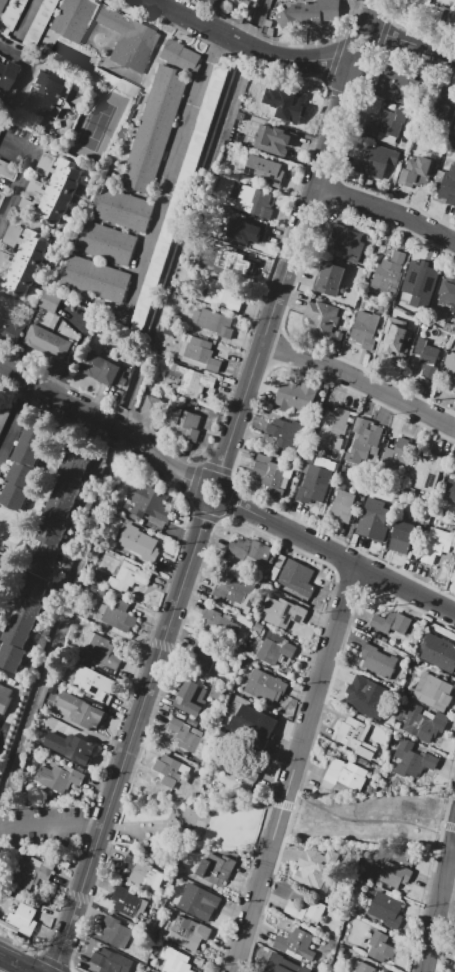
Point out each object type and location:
building: (240, 0)
building: (2, 4)
road: (164, 4)
road: (374, 6)
road: (4, 8)
building: (432, 9)
road: (53, 12)
road: (205, 13)
building: (307, 13)
road: (24, 15)
building: (10, 16)
building: (73, 18)
building: (453, 22)
building: (38, 23)
road: (105, 30)
road: (411, 31)
road: (382, 34)
building: (129, 39)
road: (281, 43)
road: (87, 44)
building: (181, 56)
road: (300, 61)
road: (334, 61)
building: (2, 63)
road: (28, 68)
road: (126, 72)
building: (7, 77)
building: (51, 83)
building: (114, 83)
building: (397, 85)
road: (145, 90)
building: (47, 95)
road: (341, 96)
building: (287, 102)
building: (444, 102)
building: (40, 106)
building: (388, 123)
park: (96, 124)
building: (454, 128)
building: (154, 130)
road: (343, 134)
building: (454, 137)
building: (275, 140)
road: (1, 145)
building: (376, 161)
building: (45, 163)
building: (7, 170)
road: (170, 170)
building: (264, 170)
building: (416, 170)
road: (21, 177)
building: (448, 186)
building: (34, 187)
road: (7, 191)
building: (58, 192)
road: (336, 193)
building: (0, 194)
road: (144, 195)
building: (1, 197)
building: (178, 199)
building: (256, 200)
building: (25, 205)
building: (124, 209)
road: (384, 213)
road: (23, 222)
road: (120, 227)
road: (38, 229)
building: (245, 230)
building: (13, 234)
building: (106, 243)
building: (347, 243)
building: (4, 258)
building: (234, 258)
road: (108, 262)
building: (26, 264)
road: (274, 266)
building: (389, 273)
building: (0, 275)
building: (95, 278)
building: (329, 278)
building: (421, 281)
road: (290, 292)
building: (448, 292)
building: (221, 295)
road: (91, 296)
building: (50, 301)
building: (323, 321)
building: (215, 323)
building: (9, 329)
building: (365, 329)
building: (395, 341)
building: (47, 342)
road: (278, 346)
road: (78, 348)
building: (426, 351)
building: (201, 354)
road: (12, 360)
building: (98, 367)
building: (448, 367)
road: (359, 377)
building: (192, 382)
building: (454, 388)
building: (295, 396)
building: (151, 406)
building: (4, 415)
road: (15, 421)
building: (183, 423)
building: (334, 427)
building: (284, 433)
building: (365, 441)
road: (239, 448)
building: (397, 454)
building: (25, 462)
road: (199, 466)
building: (426, 471)
building: (271, 477)
building: (315, 484)
road: (214, 485)
building: (451, 488)
road: (224, 498)
building: (149, 502)
road: (230, 503)
building: (342, 505)
building: (60, 507)
road: (207, 515)
building: (374, 520)
road: (243, 522)
building: (404, 535)
building: (139, 542)
building: (436, 544)
building: (250, 550)
building: (1, 564)
building: (454, 565)
building: (0, 574)
building: (129, 576)
building: (297, 577)
road: (352, 580)
building: (234, 586)
building: (284, 612)
building: (116, 615)
building: (22, 622)
building: (392, 622)
road: (155, 626)
building: (220, 626)
building: (258, 627)
road: (342, 644)
building: (103, 648)
building: (273, 651)
building: (439, 652)
building: (206, 655)
building: (378, 661)
building: (94, 684)
building: (265, 686)
building: (435, 690)
building: (216, 692)
building: (365, 696)
building: (4, 697)
building: (191, 697)
building: (81, 711)
building: (421, 723)
building: (252, 728)
road: (3, 736)
building: (188, 736)
building: (355, 737)
building: (71, 747)
building: (413, 759)
road: (294, 766)
building: (242, 767)
building: (169, 770)
building: (344, 775)
building: (57, 779)
road: (276, 802)
road: (448, 804)
road: (288, 805)
road: (367, 820)
park: (193, 822)
road: (449, 825)
parking lot: (46, 826)
road: (52, 826)
road: (2, 830)
road: (198, 836)
road: (454, 842)
building: (215, 868)
building: (312, 870)
building: (142, 871)
building: (32, 872)
building: (395, 874)
road: (270, 884)
road: (243, 890)
road: (89, 899)
building: (197, 899)
building: (128, 902)
road: (439, 902)
road: (426, 903)
building: (4, 905)
building: (386, 908)
building: (305, 910)
building: (23, 919)
road: (445, 928)
building: (115, 933)
building: (189, 933)
building: (295, 943)
road: (17, 946)
building: (381, 947)
road: (53, 960)
traffic signals: (57, 960)
building: (106, 960)
building: (175, 960)
road: (13, 964)
building: (282, 966)
building: (367, 968)
building: (454, 971)

